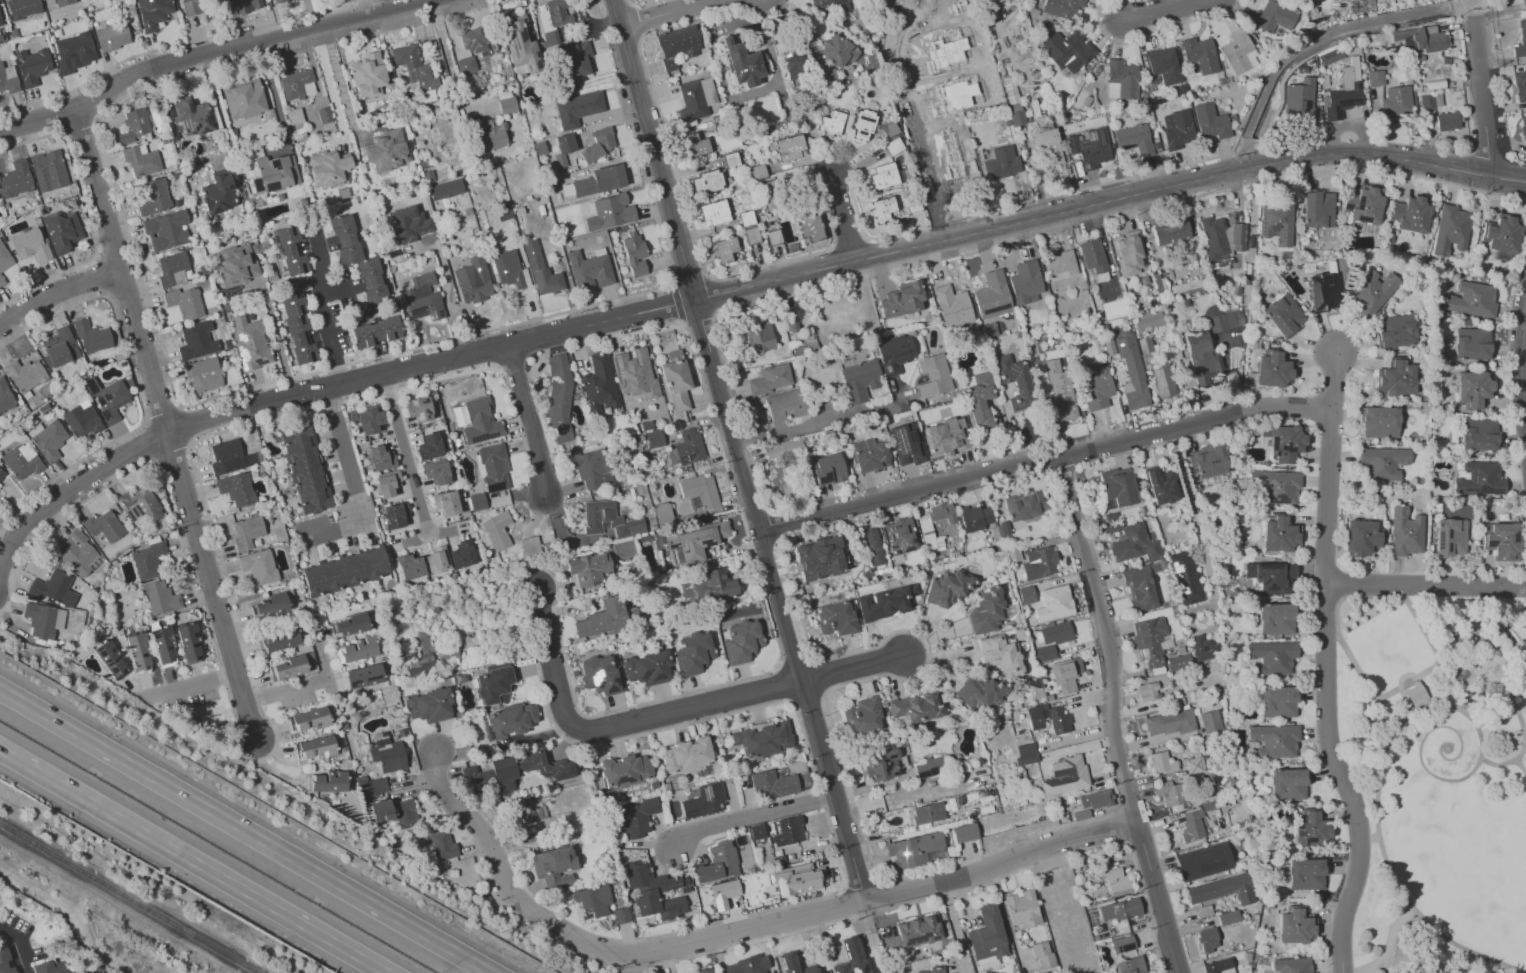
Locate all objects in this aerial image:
building: (1354, 0)
building: (90, 1)
building: (1523, 1)
building: (49, 2)
building: (64, 2)
building: (233, 3)
building: (280, 3)
road: (631, 3)
building: (191, 7)
building: (828, 7)
building: (1060, 7)
building: (23, 8)
road: (671, 12)
building: (154, 13)
road: (1169, 14)
building: (1273, 17)
building: (553, 19)
road: (640, 20)
building: (1, 21)
building: (112, 37)
building: (1423, 39)
building: (1521, 39)
building: (472, 40)
building: (678, 45)
building: (521, 46)
building: (1068, 50)
building: (839, 51)
building: (76, 52)
building: (1239, 52)
building: (1200, 54)
road: (214, 55)
building: (1331, 56)
building: (578, 57)
road: (447, 60)
building: (744, 64)
building: (466, 65)
building: (1164, 65)
building: (33, 66)
building: (795, 66)
building: (413, 67)
road: (107, 70)
building: (367, 74)
building: (825, 76)
building: (1123, 78)
building: (1375, 78)
building: (9, 79)
building: (296, 83)
road: (340, 84)
building: (1520, 85)
road: (330, 88)
road: (1486, 92)
road: (274, 94)
building: (243, 99)
building: (697, 99)
building: (1399, 100)
building: (1343, 101)
building: (1427, 101)
building: (505, 102)
building: (1303, 102)
building: (798, 105)
building: (577, 108)
road: (218, 111)
building: (190, 116)
building: (324, 117)
road: (909, 120)
building: (1211, 122)
building: (1447, 122)
building: (831, 123)
building: (863, 124)
building: (134, 126)
building: (890, 130)
building: (1524, 130)
building: (1179, 131)
building: (489, 135)
building: (1135, 139)
building: (599, 144)
building: (695, 145)
building: (894, 146)
building: (563, 148)
road: (654, 148)
building: (790, 148)
building: (1090, 148)
building: (1048, 149)
building: (386, 150)
building: (142, 160)
building: (732, 160)
building: (1002, 163)
building: (327, 169)
building: (48, 171)
building: (758, 172)
building: (274, 173)
building: (953, 174)
building: (883, 176)
building: (17, 179)
building: (600, 180)
building: (708, 182)
building: (445, 189)
building: (219, 191)
building: (790, 194)
building: (152, 197)
road: (1108, 201)
building: (913, 203)
building: (1364, 204)
building: (882, 209)
building: (1317, 209)
building: (503, 210)
building: (608, 212)
building: (715, 212)
building: (1410, 214)
road: (690, 216)
road: (92, 218)
building: (747, 218)
road: (843, 220)
building: (1276, 220)
building: (407, 223)
building: (811, 227)
road: (920, 228)
building: (167, 230)
road: (863, 230)
building: (1450, 230)
building: (1170, 232)
building: (64, 233)
building: (1501, 234)
building: (753, 235)
building: (774, 237)
building: (1222, 238)
road: (849, 239)
building: (30, 246)
building: (725, 250)
building: (290, 252)
building: (1128, 253)
building: (634, 255)
building: (5, 258)
building: (1093, 258)
building: (358, 260)
building: (1061, 263)
building: (1221, 263)
building: (236, 264)
road: (132, 267)
building: (507, 268)
building: (173, 270)
building: (541, 270)
building: (589, 270)
building: (2, 280)
building: (473, 280)
building: (1025, 282)
building: (1322, 291)
building: (1370, 292)
road: (58, 295)
building: (992, 295)
building: (423, 297)
building: (1470, 299)
building: (901, 300)
building: (185, 302)
building: (952, 306)
building: (1114, 308)
road: (320, 312)
building: (1283, 314)
building: (1222, 318)
building: (1147, 320)
road: (499, 328)
building: (297, 329)
building: (1394, 330)
building: (376, 332)
building: (92, 337)
road: (277, 337)
building: (759, 338)
building: (198, 341)
building: (250, 342)
building: (1471, 343)
building: (61, 347)
building: (894, 353)
building: (1200, 356)
road: (1522, 362)
road: (430, 365)
road: (503, 365)
building: (1272, 370)
building: (1131, 372)
building: (634, 373)
building: (204, 375)
building: (933, 375)
building: (26, 376)
building: (1394, 378)
building: (770, 379)
building: (676, 380)
building: (860, 380)
building: (1014, 380)
building: (1163, 381)
road: (418, 383)
building: (598, 384)
road: (1335, 385)
building: (1096, 386)
building: (1472, 389)
building: (1059, 394)
road: (134, 395)
building: (6, 396)
building: (977, 397)
building: (109, 398)
building: (559, 398)
building: (785, 405)
building: (418, 408)
road: (158, 412)
building: (82, 420)
building: (369, 420)
building: (476, 420)
road: (528, 422)
building: (1379, 422)
road: (828, 423)
road: (188, 427)
road: (165, 428)
building: (1478, 434)
building: (946, 436)
building: (654, 438)
building: (48, 439)
building: (1283, 442)
building: (907, 443)
building: (429, 446)
building: (686, 448)
building: (782, 448)
road: (344, 455)
building: (869, 455)
road: (406, 456)
building: (230, 458)
building: (380, 458)
road: (170, 460)
building: (1207, 460)
building: (23, 461)
road: (1045, 462)
building: (1382, 462)
building: (493, 468)
building: (593, 468)
building: (305, 469)
building: (827, 469)
building: (436, 472)
building: (2, 474)
building: (1478, 479)
building: (782, 481)
building: (387, 484)
building: (1160, 485)
building: (1117, 486)
building: (1275, 486)
building: (237, 489)
road: (70, 490)
building: (700, 490)
building: (476, 501)
building: (445, 502)
building: (1024, 505)
building: (141, 506)
building: (662, 513)
building: (395, 515)
building: (936, 516)
building: (975, 517)
road: (173, 518)
building: (609, 519)
building: (104, 528)
road: (333, 529)
building: (248, 530)
building: (497, 530)
building: (1404, 532)
road: (435, 534)
building: (1278, 534)
road: (213, 535)
road: (1198, 535)
building: (899, 536)
building: (1360, 536)
building: (1449, 537)
building: (1501, 540)
building: (695, 541)
building: (1132, 543)
building: (530, 546)
building: (873, 546)
building: (79, 553)
building: (461, 554)
building: (820, 557)
building: (149, 558)
building: (436, 559)
building: (1039, 562)
building: (409, 566)
building: (260, 567)
building: (588, 568)
building: (345, 571)
building: (1185, 577)
road: (1426, 584)
building: (708, 586)
building: (1138, 587)
building: (55, 588)
building: (947, 588)
building: (160, 598)
road: (1354, 598)
road: (779, 599)
building: (886, 602)
building: (1053, 603)
building: (270, 605)
road: (1387, 607)
building: (986, 612)
road: (1462, 617)
building: (602, 618)
building: (835, 618)
road: (1513, 618)
building: (1275, 619)
building: (45, 621)
building: (350, 625)
building: (1055, 633)
building: (280, 641)
building: (741, 641)
building: (189, 643)
building: (163, 645)
building: (1200, 648)
building: (356, 650)
building: (138, 651)
building: (692, 652)
building: (1044, 653)
building: (420, 654)
building: (1000, 655)
building: (1273, 656)
building: (110, 658)
building: (1178, 662)
building: (290, 667)
building: (647, 668)
road: (854, 670)
building: (600, 674)
building: (1066, 675)
building: (363, 676)
road: (1448, 679)
road: (1515, 683)
road: (309, 684)
building: (494, 684)
road: (193, 685)
road: (1427, 689)
building: (1147, 691)
building: (978, 692)
building: (1414, 692)
road: (1326, 698)
road: (1405, 700)
building: (1277, 701)
building: (429, 705)
building: (915, 707)
road: (1517, 714)
building: (863, 716)
road: (1112, 716)
building: (1048, 718)
building: (309, 719)
building: (511, 720)
building: (1209, 721)
building: (1168, 723)
road: (619, 726)
road: (1431, 730)
building: (762, 738)
building: (1273, 740)
building: (315, 747)
building: (387, 753)
building: (1025, 753)
building: (686, 754)
road: (1523, 756)
building: (1159, 762)
building: (883, 764)
building: (1196, 764)
building: (929, 767)
road: (1474, 768)
building: (625, 770)
building: (514, 772)
building: (1065, 775)
park: (1437, 777)
building: (328, 782)
building: (773, 784)
building: (1287, 784)
building: (371, 786)
road: (1377, 789)
building: (1168, 792)
building: (1095, 799)
building: (703, 801)
building: (395, 811)
building: (927, 813)
road: (752, 815)
building: (637, 817)
building: (1191, 825)
building: (1310, 829)
building: (756, 831)
building: (788, 831)
road: (244, 832)
building: (964, 832)
road: (1369, 837)
building: (442, 845)
building: (912, 849)
road: (194, 861)
building: (1203, 861)
building: (717, 863)
building: (554, 866)
building: (1306, 873)
building: (797, 879)
building: (1117, 882)
building: (1222, 889)
building: (653, 891)
building: (723, 893)
railway: (128, 898)
building: (592, 901)
road: (118, 904)
building: (1022, 909)
building: (1119, 909)
building: (621, 915)
building: (1228, 917)
building: (1296, 927)
road: (739, 932)
building: (912, 933)
building: (986, 935)
building: (1207, 939)
road: (1389, 943)
building: (1122, 944)
road: (16, 948)
building: (1042, 955)
building: (850, 957)
building: (5, 962)
building: (747, 965)
building: (794, 965)
building: (1129, 965)
building: (1291, 965)
building: (1217, 966)
building: (49, 967)
building: (933, 970)
building: (704, 971)
building: (1048, 972)
building: (1313, 972)

